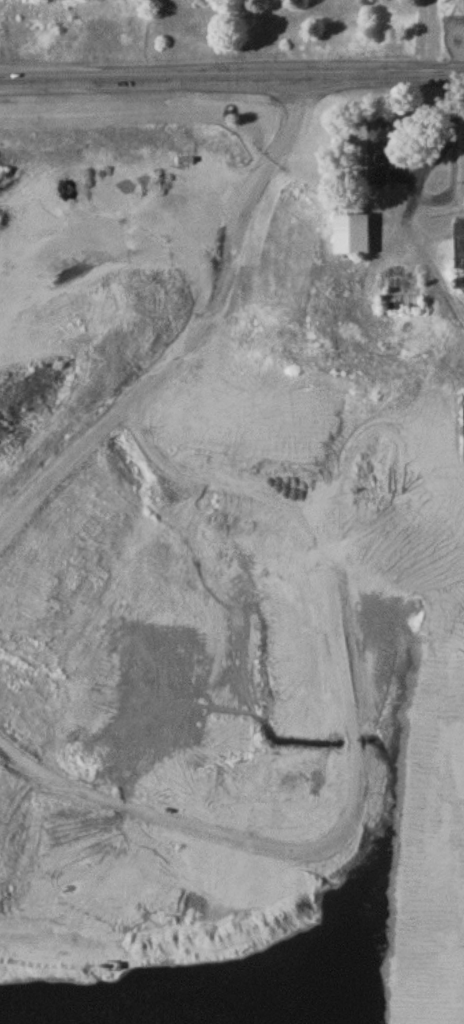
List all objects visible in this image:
road: (431, 37)
road: (231, 79)
road: (433, 148)
building: (380, 155)
building: (354, 237)
building: (461, 248)

